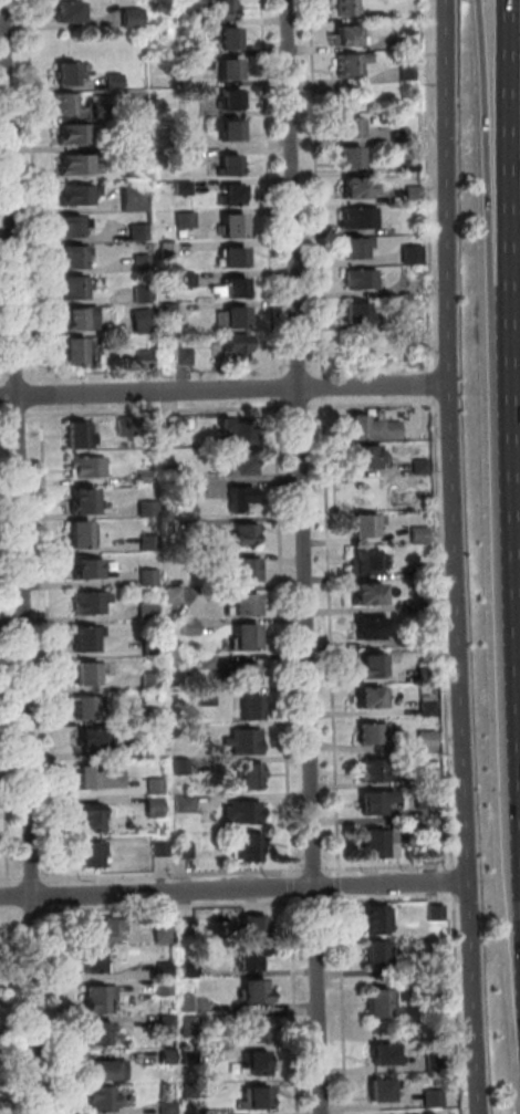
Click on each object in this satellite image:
building: (341, 7)
building: (64, 10)
building: (221, 10)
building: (373, 13)
building: (186, 15)
building: (129, 17)
building: (342, 34)
building: (223, 39)
building: (402, 42)
building: (342, 66)
building: (65, 70)
building: (225, 70)
building: (405, 71)
building: (113, 79)
building: (227, 98)
building: (63, 102)
building: (187, 107)
building: (344, 127)
building: (226, 129)
building: (397, 132)
building: (75, 133)
building: (176, 133)
road: (497, 140)
road: (511, 140)
building: (177, 157)
building: (345, 157)
building: (76, 163)
building: (226, 163)
building: (133, 169)
building: (180, 186)
road: (316, 186)
road: (429, 186)
road: (267, 187)
building: (349, 187)
road: (32, 190)
building: (227, 190)
building: (75, 194)
building: (416, 195)
building: (131, 198)
building: (183, 215)
building: (355, 217)
building: (67, 225)
building: (227, 226)
building: (403, 229)
building: (137, 231)
building: (350, 247)
building: (165, 249)
building: (416, 254)
building: (70, 256)
building: (230, 257)
building: (356, 279)
building: (185, 280)
building: (232, 287)
building: (69, 288)
building: (138, 291)
building: (352, 312)
building: (412, 313)
building: (232, 315)
building: (70, 317)
building: (139, 317)
building: (232, 343)
building: (69, 350)
building: (180, 354)
building: (141, 355)
road: (431, 383)
road: (322, 385)
road: (273, 386)
road: (227, 389)
road: (39, 393)
road: (368, 404)
road: (299, 406)
road: (155, 409)
road: (10, 414)
road: (514, 414)
road: (1, 415)
building: (122, 423)
building: (166, 424)
building: (360, 427)
building: (231, 433)
building: (73, 435)
road: (454, 441)
building: (360, 455)
building: (235, 464)
building: (83, 466)
building: (423, 467)
building: (170, 472)
building: (143, 475)
building: (239, 498)
building: (76, 499)
building: (145, 507)
building: (364, 522)
building: (241, 532)
building: (75, 533)
building: (422, 535)
building: (146, 540)
road: (17, 556)
road: (305, 556)
building: (365, 560)
building: (81, 568)
building: (240, 570)
building: (426, 571)
building: (144, 575)
building: (169, 593)
building: (366, 593)
building: (85, 602)
building: (239, 604)
building: (425, 605)
building: (142, 610)
building: (189, 626)
building: (367, 626)
building: (241, 635)
road: (329, 635)
road: (281, 637)
building: (79, 639)
building: (426, 639)
building: (146, 643)
road: (46, 644)
building: (207, 662)
building: (368, 663)
building: (239, 673)
building: (84, 674)
building: (427, 674)
road: (514, 677)
building: (147, 679)
road: (444, 693)
building: (370, 696)
building: (207, 698)
building: (242, 705)
building: (84, 709)
building: (430, 709)
building: (148, 714)
building: (368, 731)
building: (198, 732)
building: (92, 740)
building: (243, 741)
building: (428, 741)
building: (137, 746)
building: (179, 767)
building: (371, 769)
road: (3, 773)
building: (242, 773)
building: (97, 774)
building: (430, 778)
building: (150, 783)
building: (428, 799)
building: (372, 801)
building: (183, 802)
building: (149, 806)
building: (240, 808)
building: (90, 818)
building: (375, 843)
building: (157, 845)
building: (248, 845)
building: (430, 847)
building: (181, 848)
building: (87, 851)
road: (311, 868)
road: (169, 873)
road: (10, 877)
road: (29, 877)
road: (336, 884)
road: (289, 885)
road: (231, 888)
road: (54, 893)
road: (8, 894)
road: (312, 900)
road: (171, 905)
road: (32, 909)
road: (10, 910)
building: (436, 913)
building: (373, 917)
building: (248, 924)
building: (186, 925)
building: (102, 927)
building: (158, 929)
road: (451, 944)
building: (372, 950)
building: (247, 955)
building: (86, 957)
building: (187, 966)
building: (160, 967)
building: (160, 986)
building: (250, 987)
building: (437, 992)
building: (96, 995)
road: (471, 998)
road: (339, 1003)
building: (378, 1003)
road: (292, 1004)
road: (58, 1008)
road: (11, 1009)
building: (254, 1027)
building: (96, 1032)
building: (378, 1052)
building: (187, 1053)
building: (164, 1054)
building: (256, 1060)
building: (436, 1063)
building: (102, 1068)
building: (381, 1090)
building: (194, 1092)
building: (251, 1095)
building: (101, 1097)
building: (434, 1100)
building: (165, 1106)

